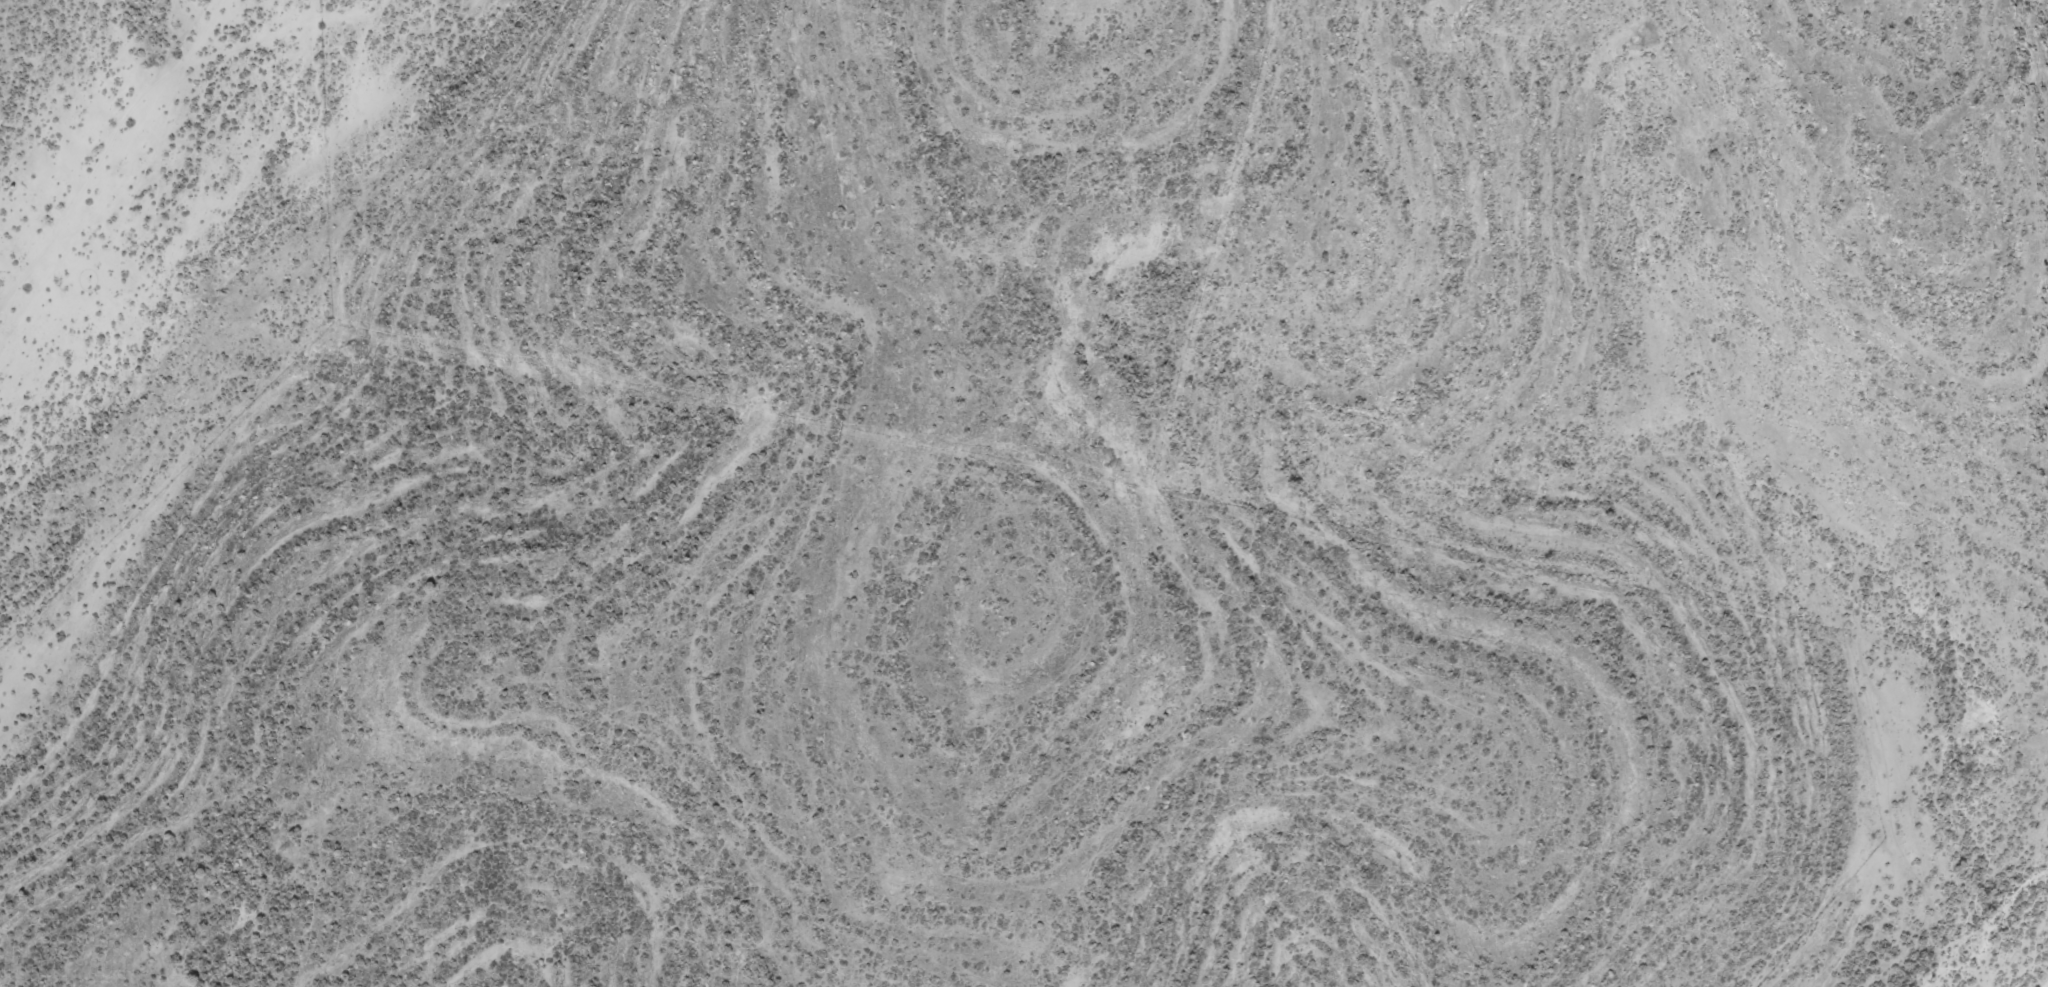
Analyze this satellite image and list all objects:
road: (107, 160)

